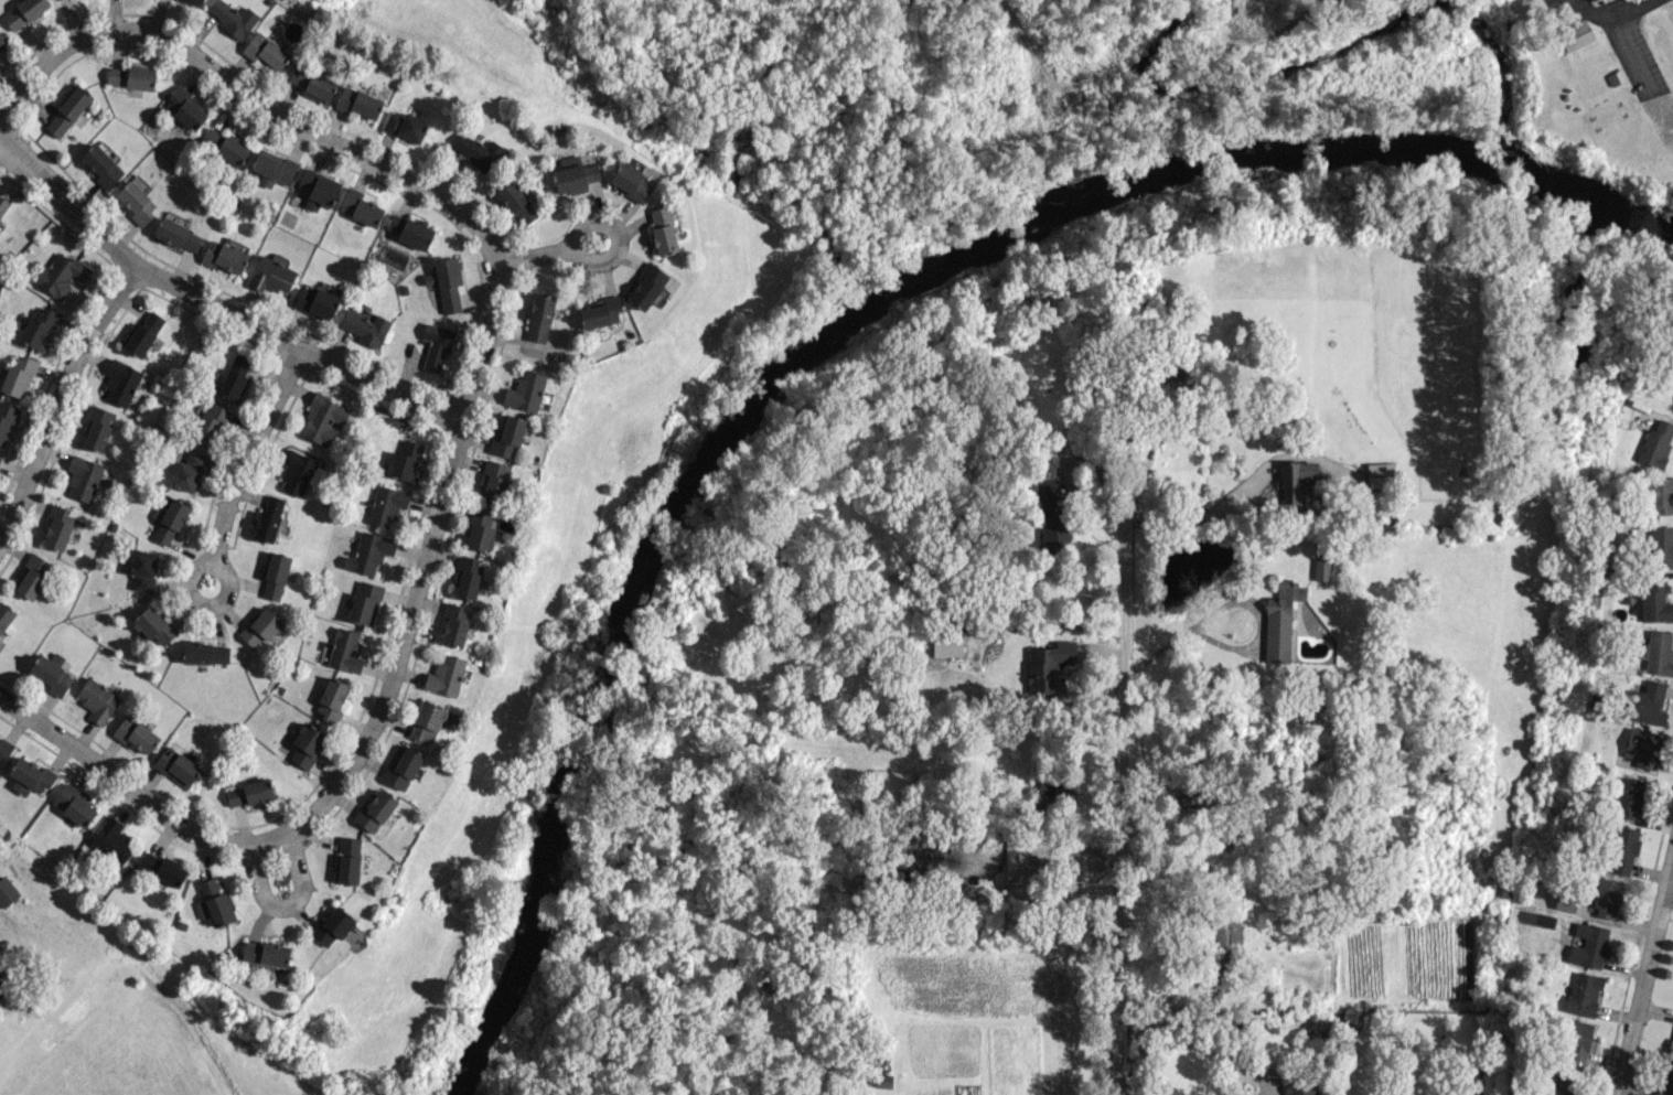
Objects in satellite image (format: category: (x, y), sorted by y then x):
building: (201, 0)
building: (24, 12)
building: (233, 18)
building: (1575, 34)
building: (2, 40)
building: (266, 52)
building: (0, 65)
building: (131, 76)
building: (313, 83)
road: (248, 100)
building: (358, 103)
building: (185, 108)
building: (67, 110)
building: (405, 126)
building: (225, 144)
building: (479, 151)
building: (101, 165)
building: (272, 169)
building: (573, 174)
building: (631, 182)
building: (318, 189)
building: (516, 201)
building: (136, 202)
building: (2, 204)
building: (360, 207)
building: (409, 230)
building: (662, 230)
building: (178, 235)
road: (615, 235)
road: (539, 255)
building: (223, 257)
building: (62, 275)
building: (270, 275)
building: (446, 283)
building: (647, 286)
building: (315, 301)
road: (213, 307)
building: (599, 312)
building: (539, 318)
building: (36, 326)
building: (364, 326)
building: (142, 334)
river: (860, 340)
building: (437, 345)
building: (18, 376)
building: (234, 376)
building: (120, 382)
building: (525, 391)
road: (58, 397)
building: (322, 419)
building: (6, 421)
building: (211, 423)
building: (97, 428)
building: (508, 436)
building: (1656, 442)
road: (246, 455)
building: (0, 457)
building: (404, 460)
building: (189, 471)
building: (296, 472)
building: (83, 477)
building: (494, 481)
building: (1656, 494)
building: (386, 505)
building: (1051, 515)
road: (1219, 516)
building: (268, 517)
building: (170, 522)
building: (57, 527)
building: (481, 529)
building: (1661, 546)
building: (368, 551)
road: (213, 568)
building: (141, 569)
building: (275, 576)
building: (32, 577)
building: (468, 577)
road: (1231, 600)
building: (1653, 601)
building: (364, 602)
road: (1052, 623)
building: (454, 624)
building: (1278, 624)
building: (153, 625)
building: (260, 626)
building: (946, 643)
building: (345, 650)
building: (205, 653)
building: (1655, 653)
building: (1049, 667)
building: (446, 676)
building: (97, 699)
building: (331, 699)
building: (1647, 704)
building: (426, 721)
road: (377, 726)
building: (136, 733)
building: (305, 744)
building: (1642, 747)
building: (4, 750)
building: (176, 766)
building: (401, 766)
building: (30, 776)
building: (890, 785)
building: (248, 792)
building: (1629, 797)
building: (74, 804)
road: (1116, 806)
building: (374, 812)
building: (111, 840)
building: (1622, 849)
building: (347, 859)
road: (1669, 861)
building: (162, 869)
road: (1669, 878)
road: (1032, 889)
building: (7, 892)
building: (1608, 898)
building: (215, 902)
building: (1564, 905)
road: (286, 910)
building: (333, 925)
building: (1589, 945)
building: (265, 953)
building: (2, 985)
road: (1639, 985)
building: (1583, 994)
building: (1574, 1038)
building: (1670, 1044)
road: (1240, 1075)
building: (1565, 1082)
building: (1299, 1088)
road: (1114, 1094)

